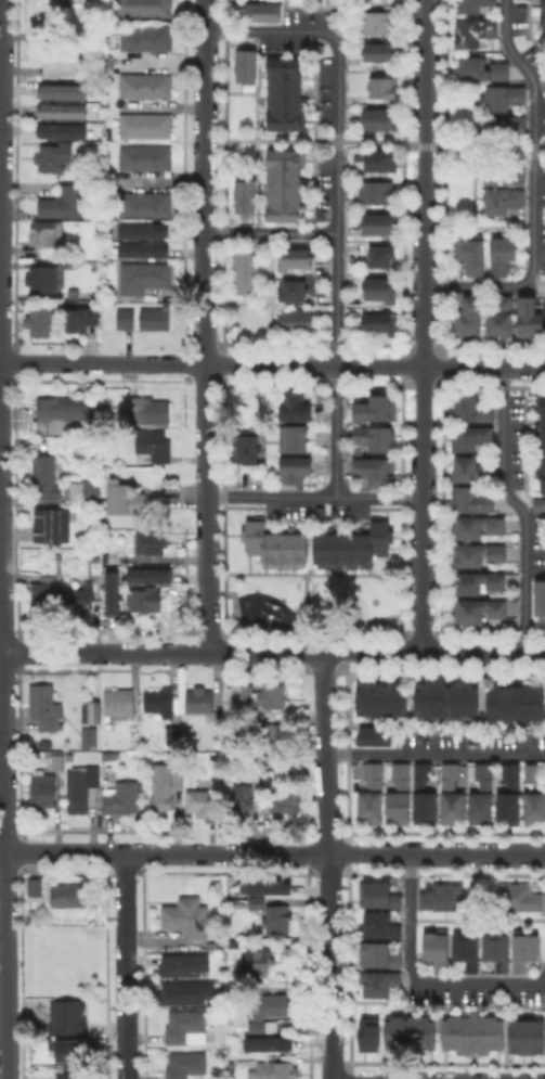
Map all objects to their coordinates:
building: (473, 3)
building: (141, 8)
building: (260, 10)
building: (541, 15)
building: (378, 21)
road: (0, 26)
building: (477, 29)
building: (143, 36)
building: (381, 51)
building: (61, 60)
building: (243, 64)
building: (482, 67)
building: (142, 82)
building: (384, 86)
building: (64, 90)
building: (281, 91)
building: (506, 94)
building: (63, 110)
building: (380, 118)
building: (147, 125)
building: (505, 126)
building: (63, 129)
road: (374, 141)
road: (203, 150)
building: (141, 155)
building: (55, 157)
building: (380, 158)
building: (507, 169)
building: (281, 183)
road: (533, 188)
building: (378, 192)
building: (243, 195)
building: (504, 200)
road: (336, 201)
building: (64, 202)
building: (141, 203)
building: (380, 223)
building: (139, 229)
road: (269, 233)
building: (46, 234)
building: (139, 248)
building: (472, 252)
building: (503, 253)
building: (382, 255)
building: (297, 257)
building: (245, 272)
building: (143, 277)
building: (46, 279)
building: (380, 287)
building: (293, 288)
building: (74, 293)
building: (502, 316)
building: (80, 317)
building: (155, 317)
building: (470, 317)
building: (531, 317)
building: (127, 318)
building: (295, 320)
building: (376, 320)
building: (41, 321)
road: (423, 325)
road: (204, 331)
road: (102, 362)
road: (374, 364)
road: (204, 394)
building: (294, 407)
building: (376, 408)
building: (472, 409)
building: (148, 410)
building: (63, 413)
building: (475, 436)
building: (375, 437)
building: (294, 438)
building: (541, 442)
building: (154, 445)
building: (246, 446)
building: (295, 468)
building: (473, 470)
building: (376, 471)
road: (205, 474)
building: (48, 478)
building: (85, 491)
road: (314, 497)
building: (475, 500)
building: (133, 502)
road: (517, 506)
building: (319, 512)
building: (53, 524)
building: (480, 526)
building: (151, 542)
building: (273, 547)
building: (351, 548)
building: (480, 554)
building: (150, 575)
building: (480, 581)
road: (207, 588)
building: (112, 592)
building: (44, 596)
building: (538, 598)
building: (77, 600)
building: (145, 601)
park: (315, 606)
building: (480, 609)
road: (87, 652)
road: (247, 652)
road: (432, 653)
building: (268, 696)
building: (378, 696)
building: (443, 697)
building: (200, 702)
building: (512, 702)
building: (120, 704)
building: (47, 709)
building: (165, 709)
building: (92, 712)
building: (269, 732)
building: (372, 733)
building: (90, 737)
road: (434, 754)
building: (108, 756)
building: (56, 762)
building: (532, 773)
building: (269, 779)
building: (165, 786)
building: (82, 788)
building: (43, 789)
road: (3, 793)
building: (373, 795)
building: (400, 795)
building: (425, 795)
building: (452, 795)
building: (511, 795)
building: (483, 797)
building: (244, 798)
building: (122, 799)
building: (203, 799)
building: (281, 801)
building: (534, 809)
road: (2, 851)
road: (88, 851)
road: (250, 851)
road: (437, 853)
road: (329, 864)
building: (36, 887)
building: (270, 887)
building: (72, 896)
building: (381, 896)
building: (443, 898)
building: (520, 899)
building: (259, 902)
building: (190, 919)
building: (280, 920)
building: (381, 926)
building: (213, 945)
building: (439, 951)
building: (469, 951)
building: (497, 951)
building: (525, 951)
building: (380, 956)
building: (258, 963)
building: (180, 964)
road: (125, 965)
road: (417, 978)
building: (380, 986)
building: (182, 992)
building: (273, 1006)
building: (54, 1016)
building: (186, 1027)
building: (259, 1028)
building: (407, 1030)
building: (469, 1031)
building: (366, 1032)
building: (523, 1035)
building: (269, 1044)
building: (72, 1051)
building: (185, 1064)
building: (277, 1070)
building: (73, 1072)

